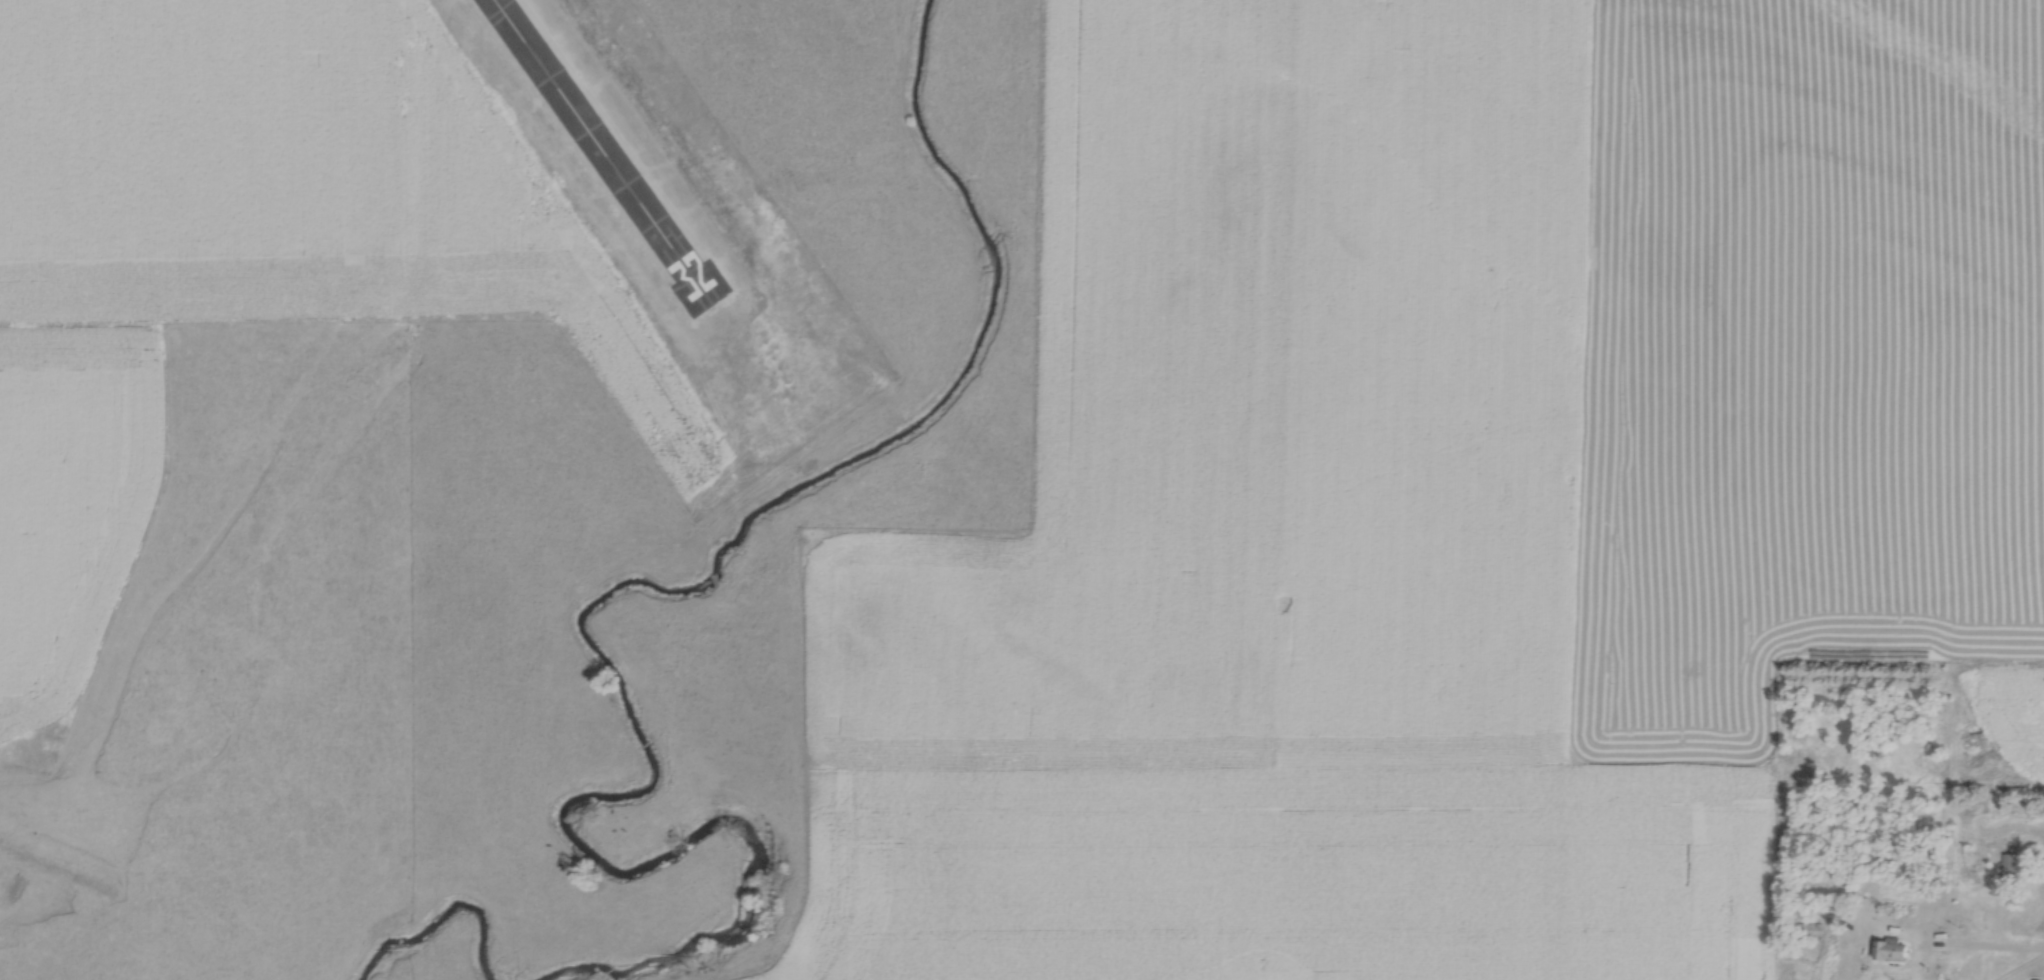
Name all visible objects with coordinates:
airport runway: (605, 151)
crop: (274, 176)
airport: (658, 237)
river: (586, 596)
river: (431, 909)
building: (1890, 949)
road: (1994, 949)

